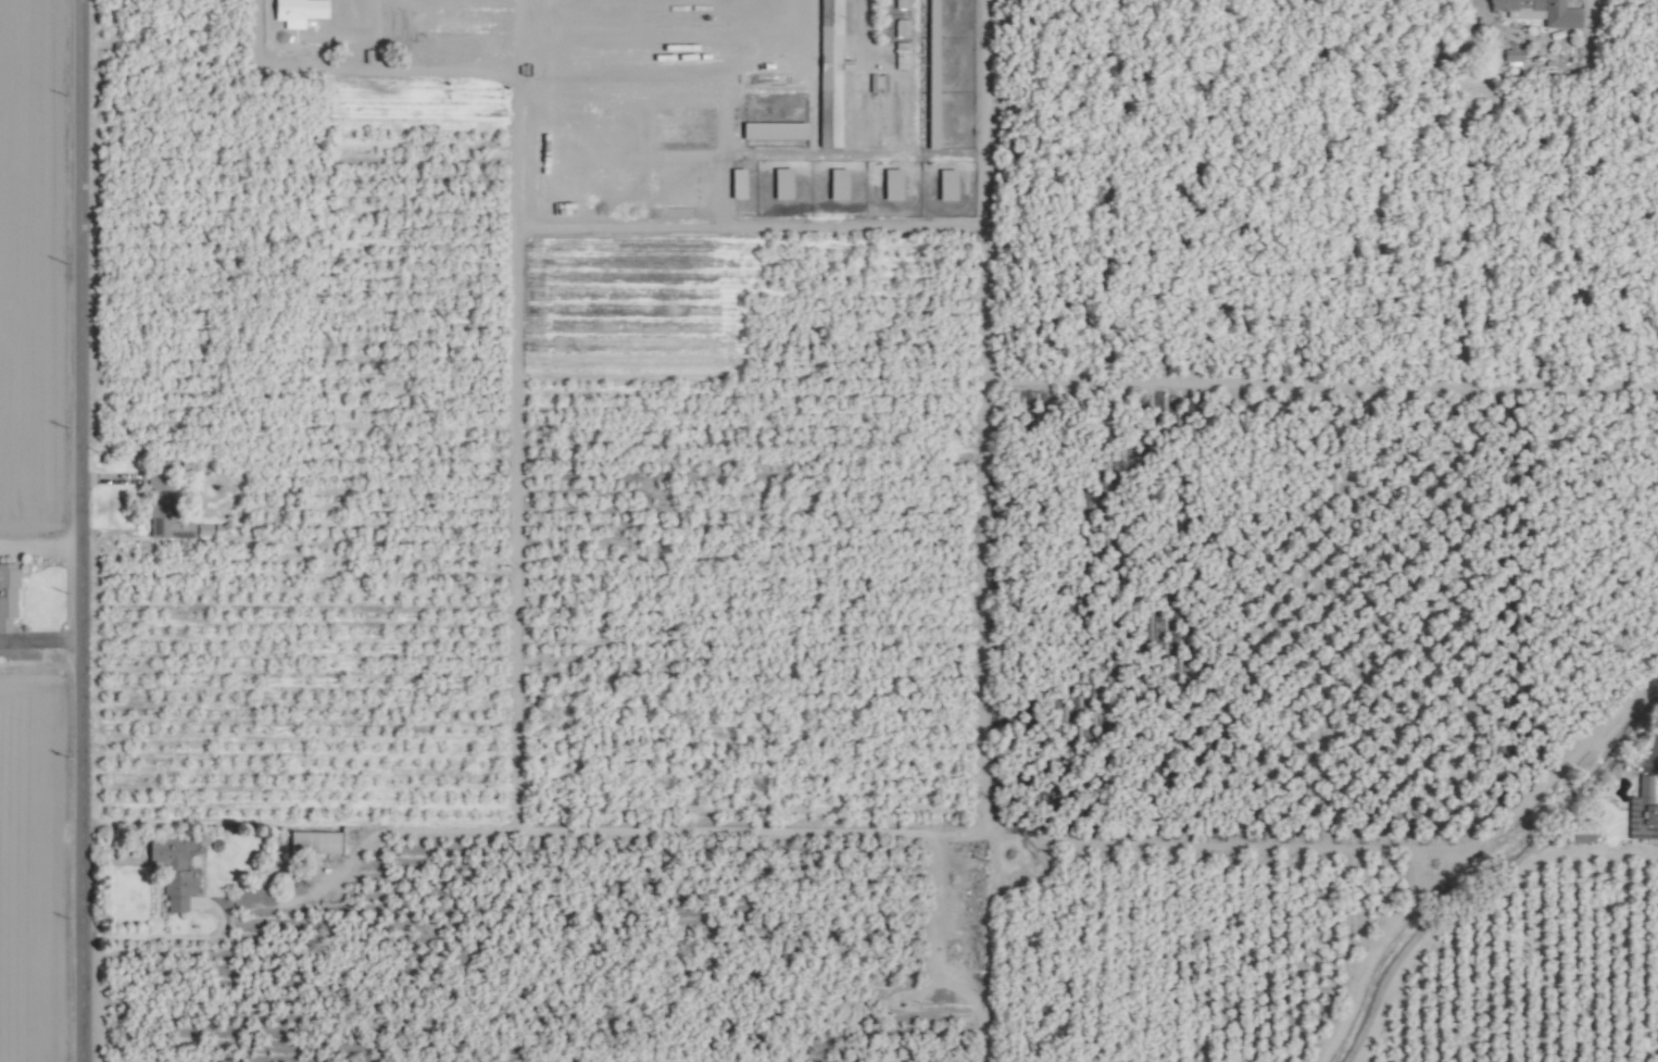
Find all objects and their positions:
building: (900, 4)
building: (1517, 10)
building: (1557, 14)
building: (929, 24)
building: (818, 68)
building: (770, 129)
building: (734, 183)
building: (778, 183)
building: (834, 183)
building: (889, 184)
building: (944, 184)
building: (161, 508)
road: (85, 530)
crop: (829, 530)
road: (42, 644)
road: (1657, 757)
building: (1641, 811)
road: (478, 827)
building: (313, 841)
building: (171, 870)

